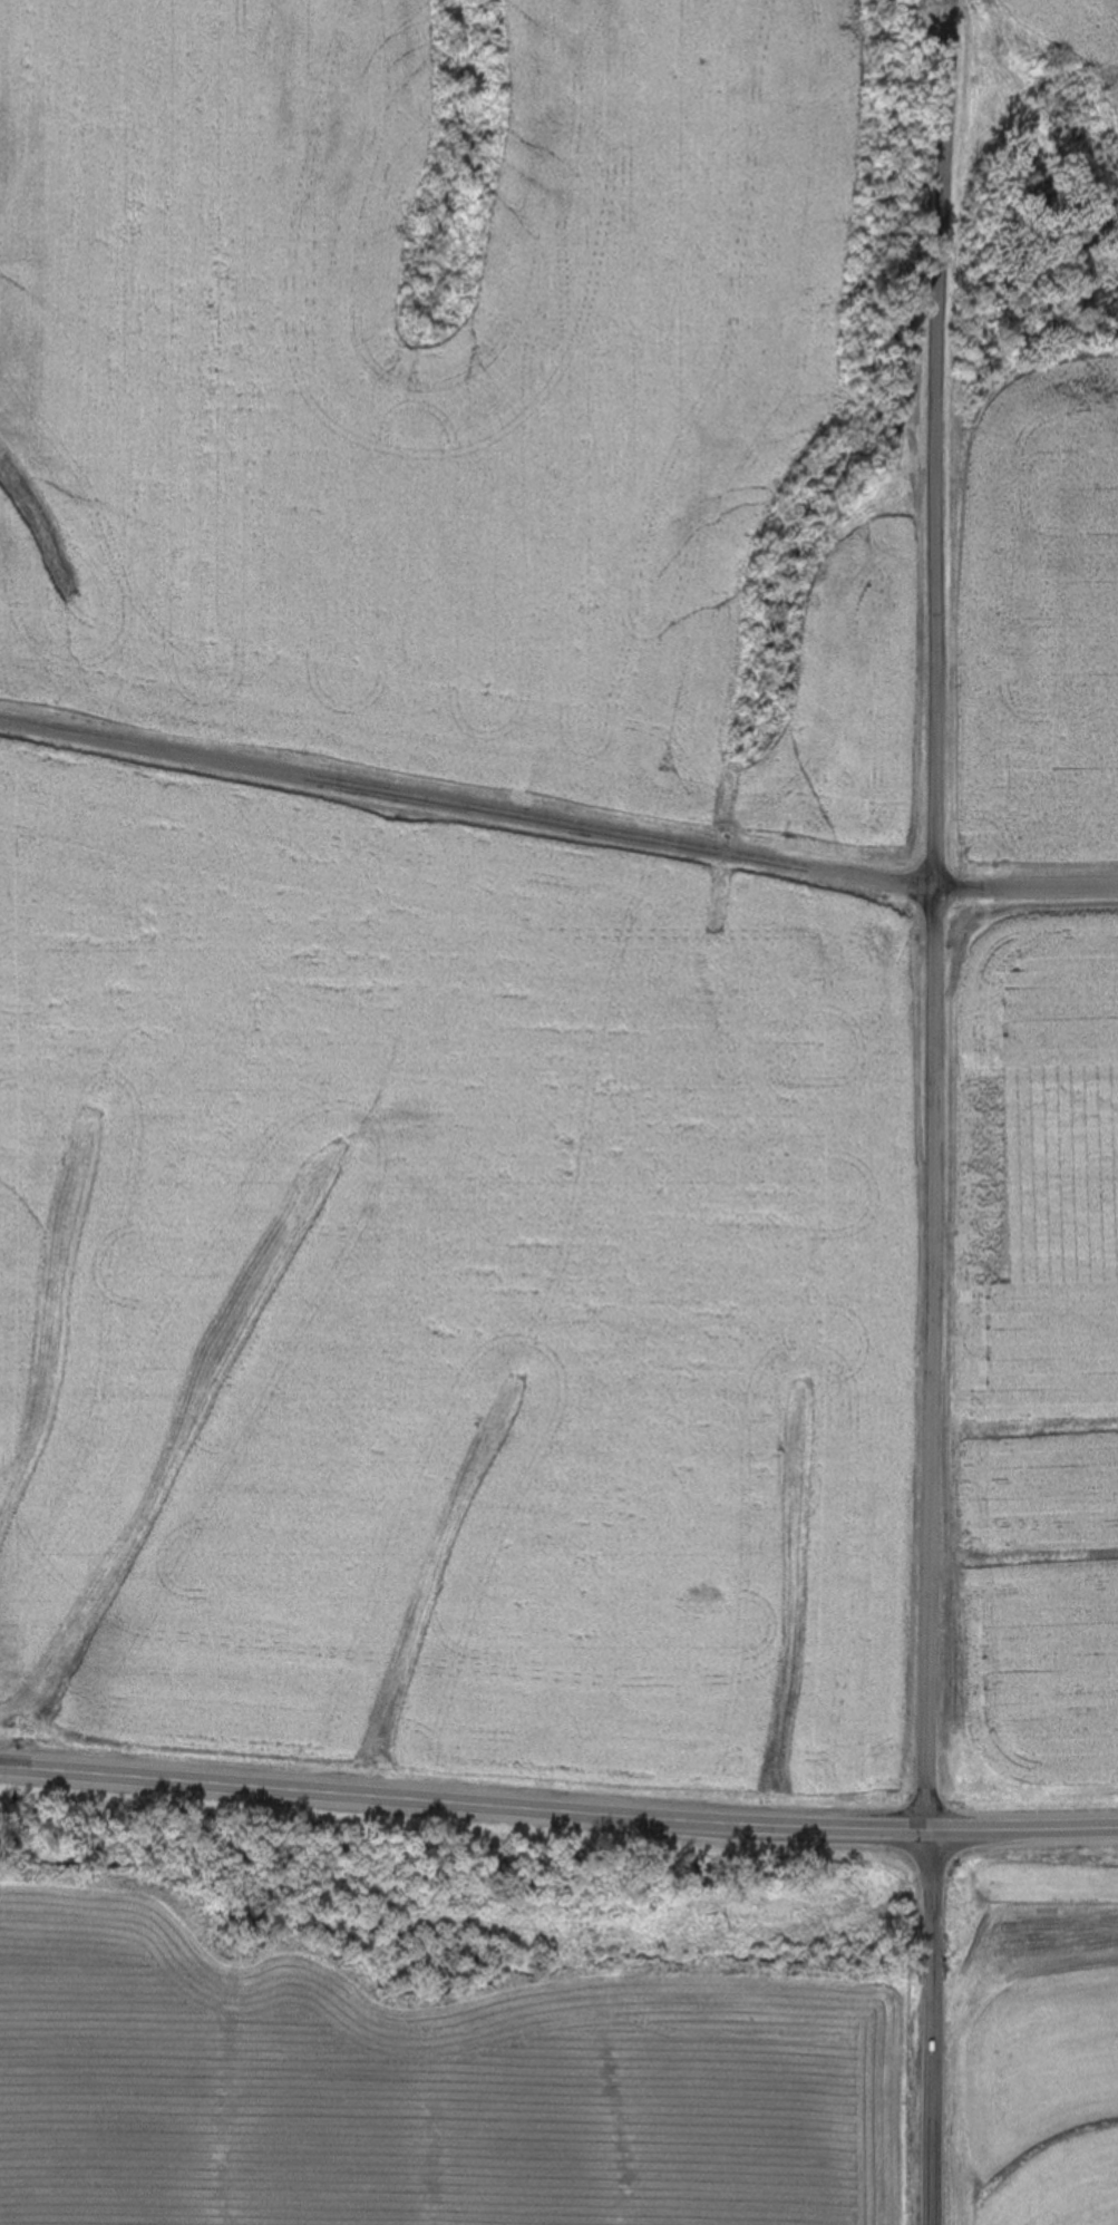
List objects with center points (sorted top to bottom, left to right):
road: (556, 818)
road: (936, 913)
road: (464, 1801)
road: (1023, 1826)
road: (927, 2025)

